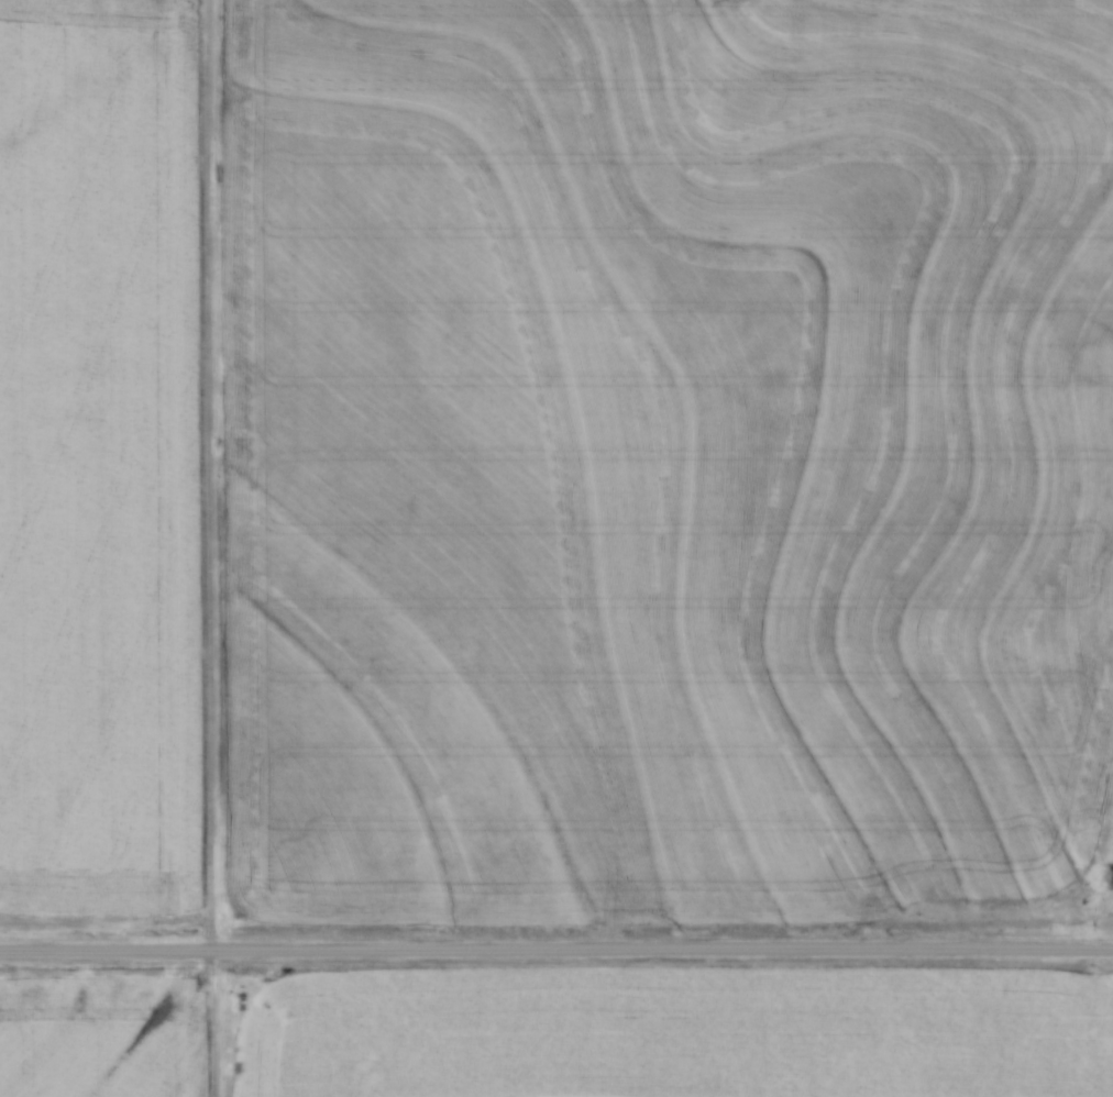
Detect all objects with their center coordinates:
road: (556, 952)

